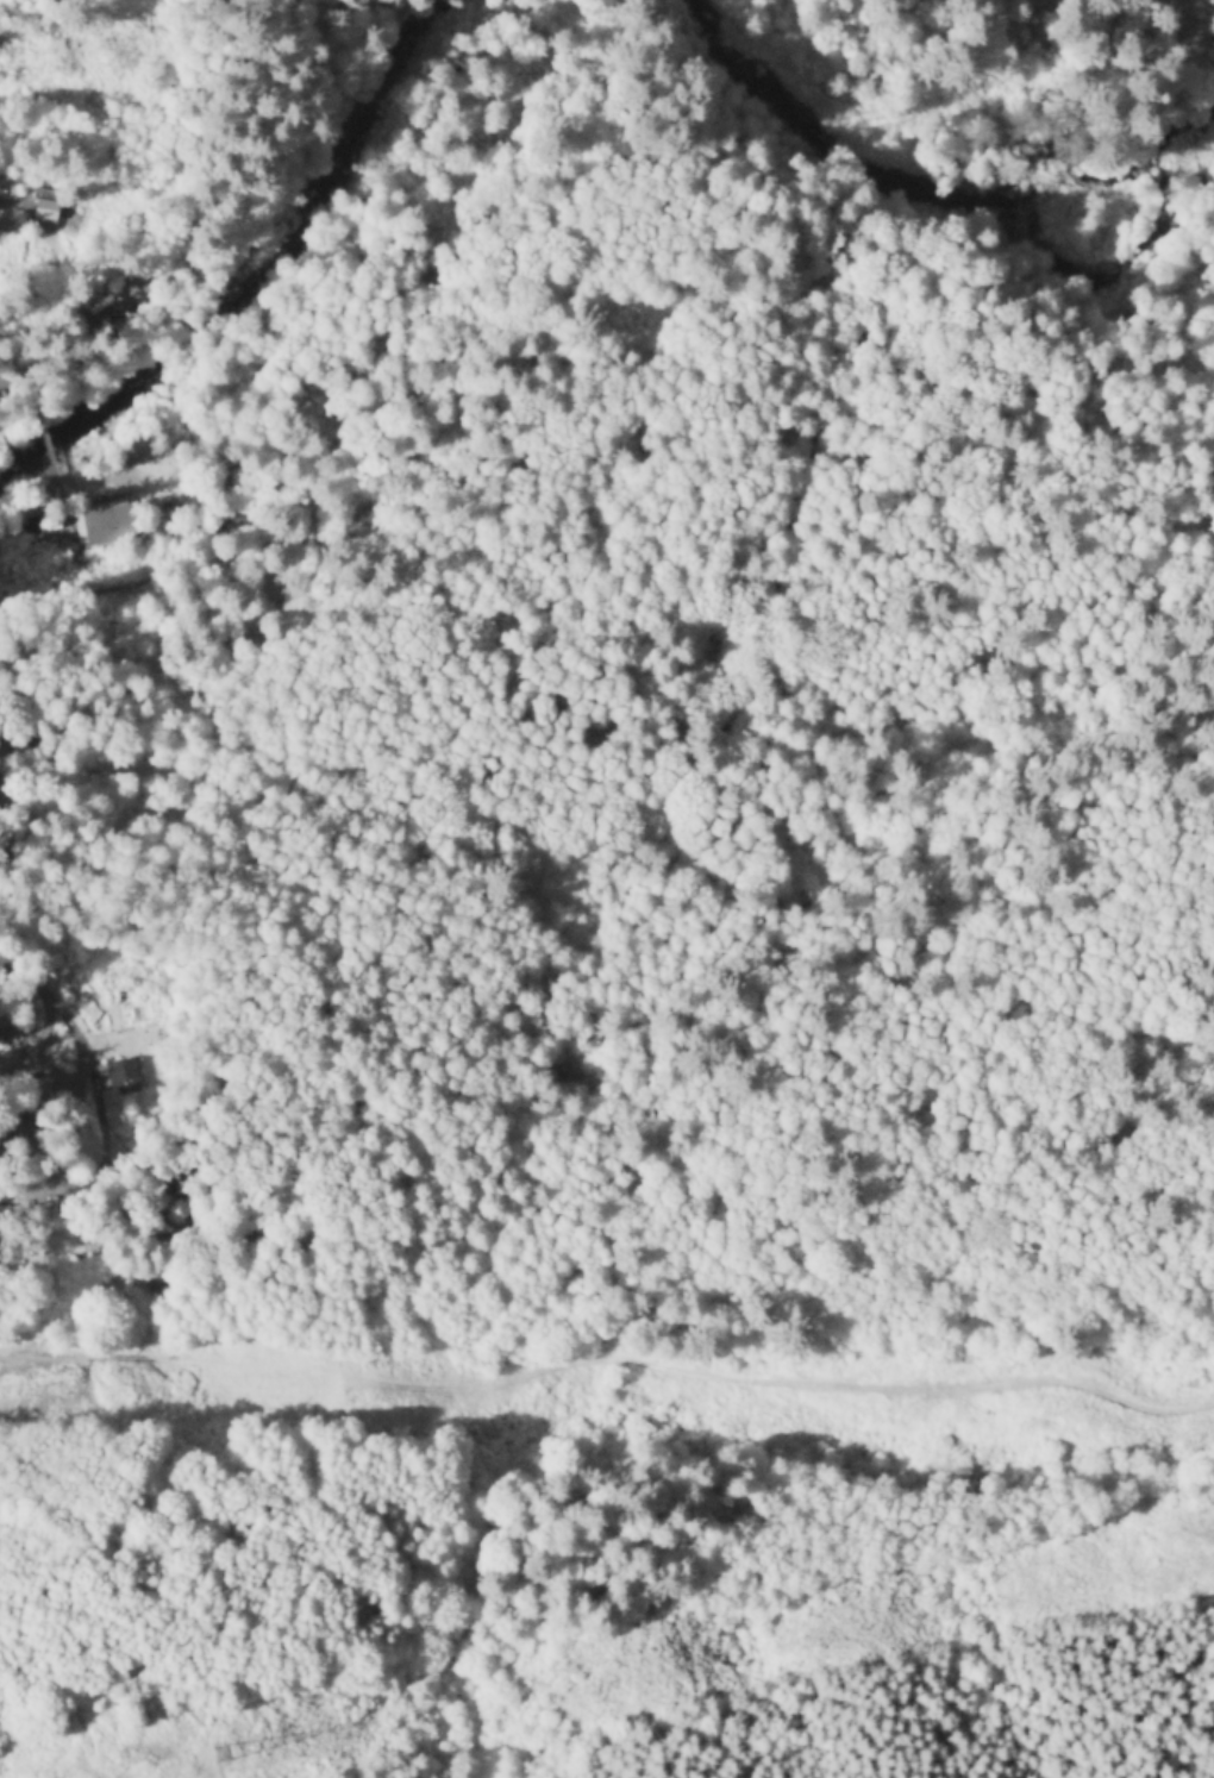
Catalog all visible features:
building: (44, 213)
building: (107, 525)
building: (126, 1083)
road: (606, 1358)
power tower: (30, 1383)
power tower: (221, 1754)

